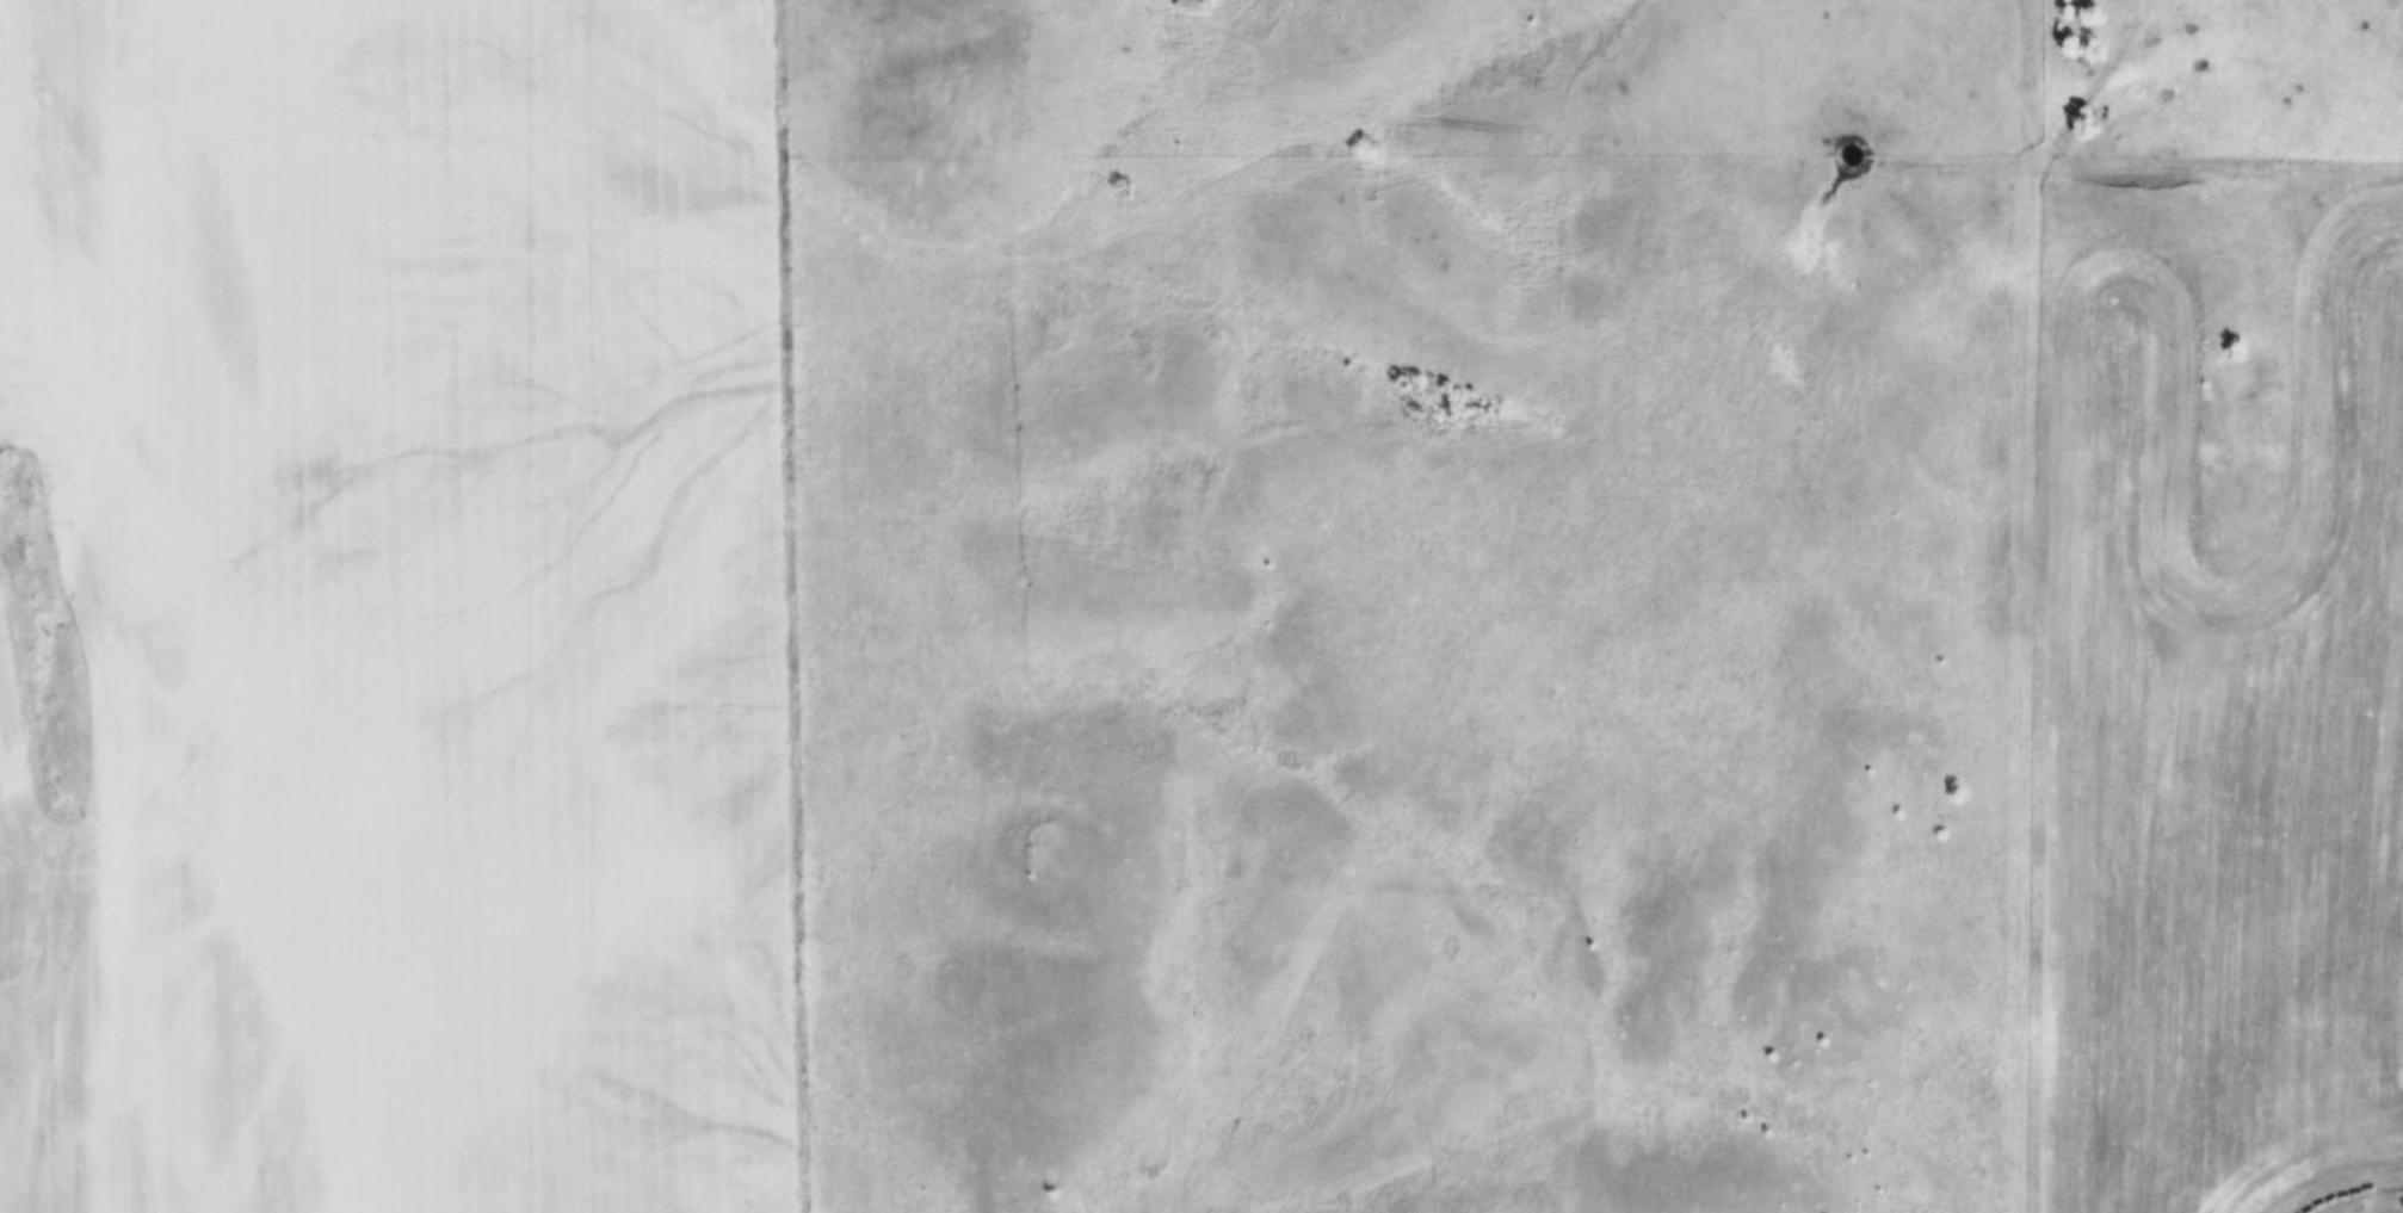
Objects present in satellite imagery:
road: (2222, 168)
road: (2032, 606)

